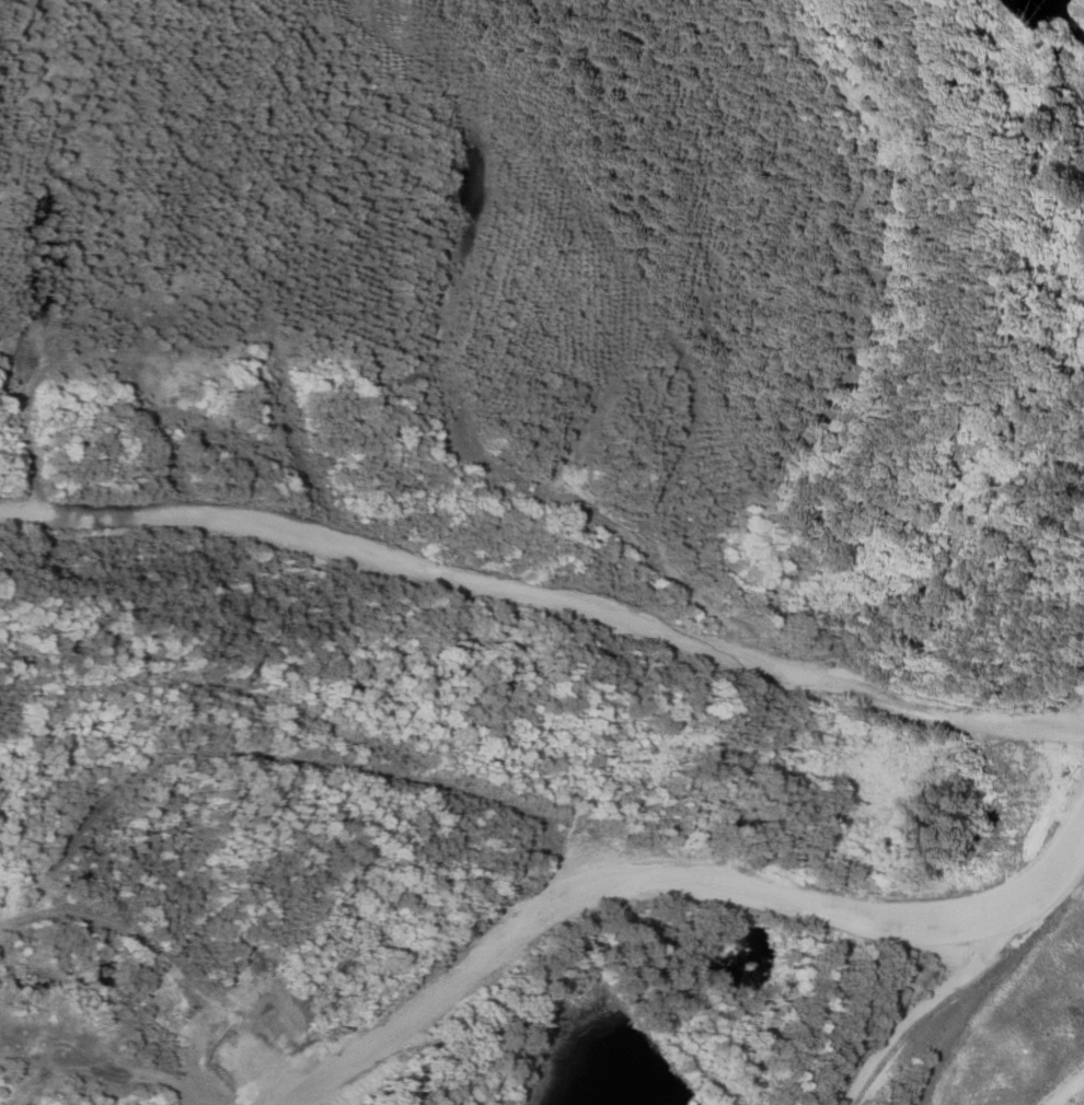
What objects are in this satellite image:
road: (545, 600)
road: (668, 880)

